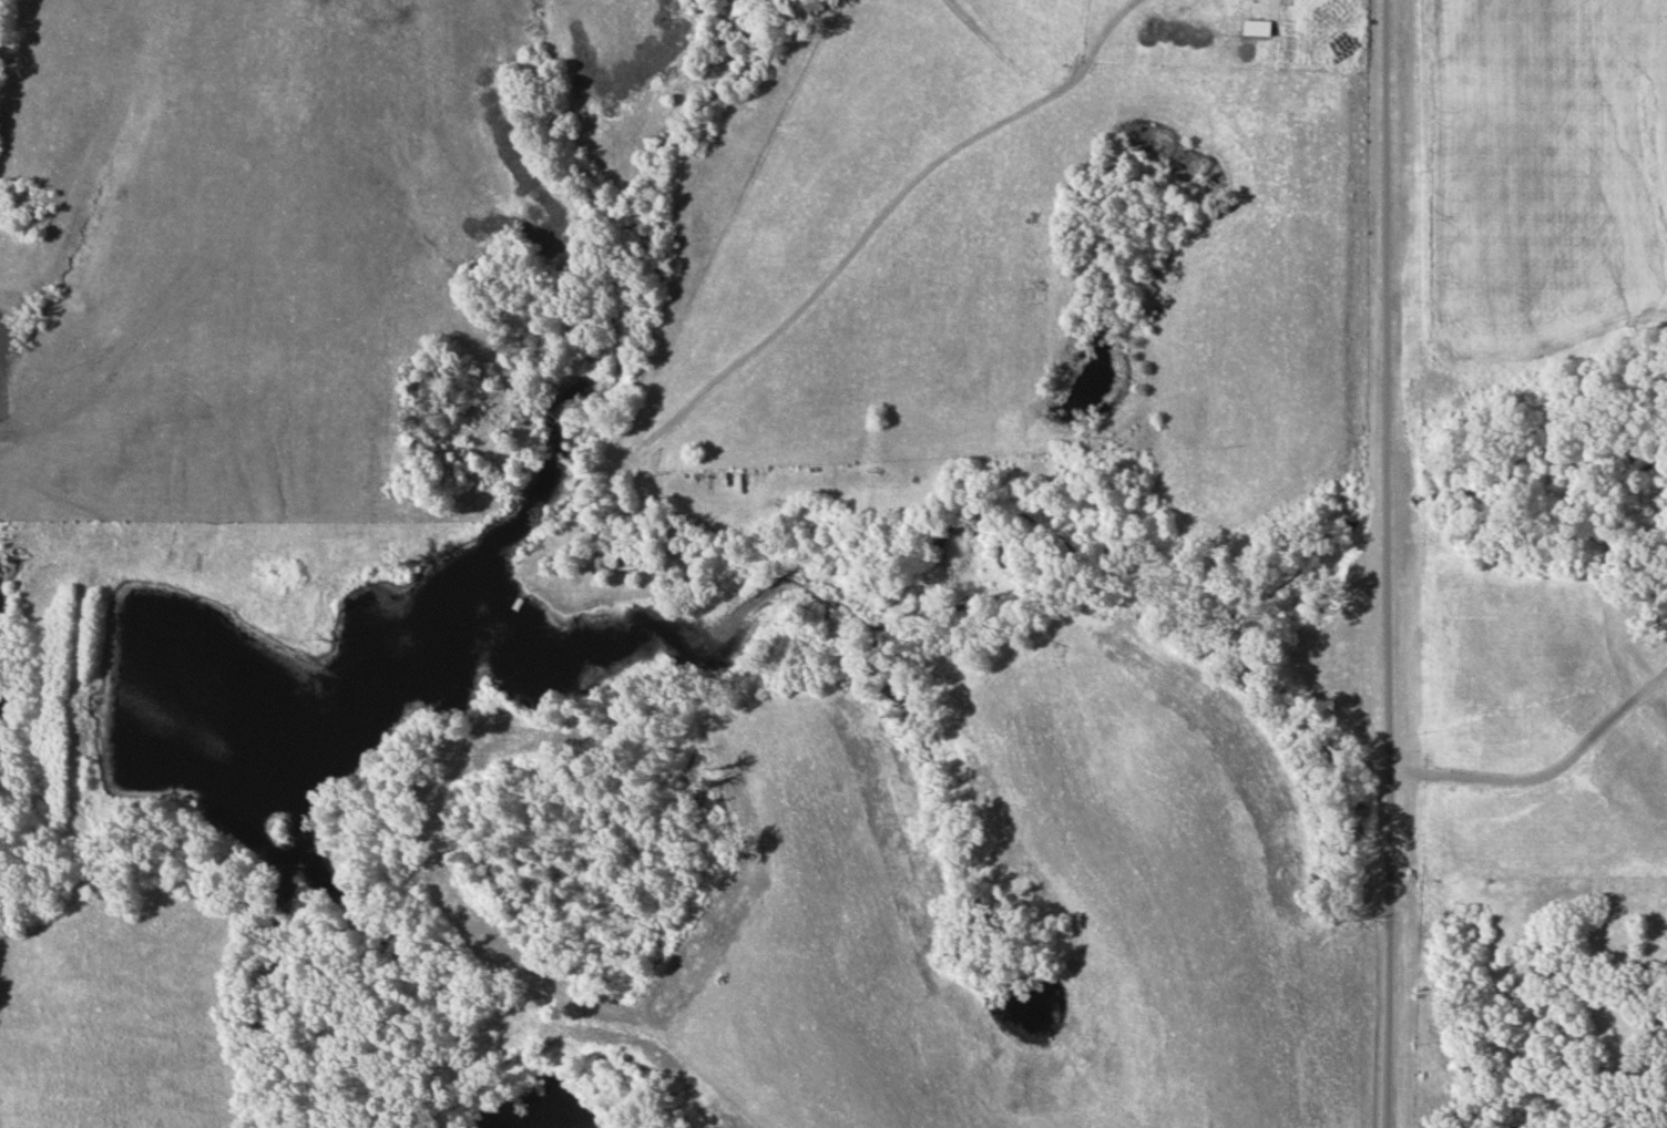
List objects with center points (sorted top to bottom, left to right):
road: (1388, 564)

